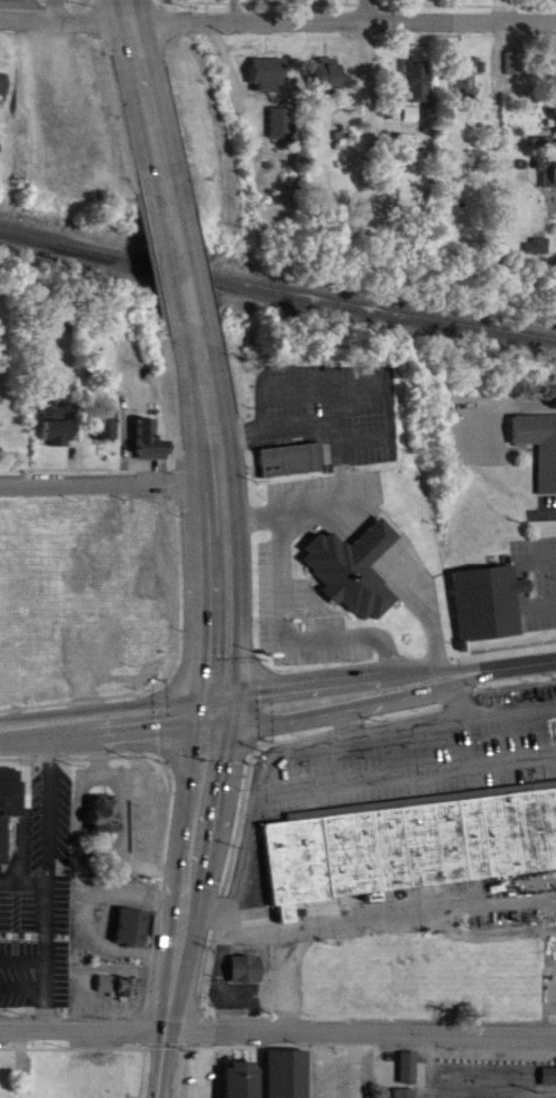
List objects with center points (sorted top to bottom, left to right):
road: (235, 3)
road: (277, 6)
building: (268, 75)
building: (327, 76)
building: (413, 81)
building: (4, 83)
road: (146, 87)
road: (360, 120)
building: (554, 120)
building: (281, 123)
building: (547, 174)
railway: (277, 276)
road: (197, 318)
road: (363, 374)
road: (336, 396)
road: (178, 416)
building: (105, 424)
road: (358, 432)
building: (59, 433)
building: (538, 433)
building: (149, 439)
road: (88, 455)
building: (292, 461)
road: (109, 469)
road: (325, 495)
road: (538, 544)
building: (351, 551)
road: (421, 583)
road: (222, 585)
building: (487, 586)
road: (544, 592)
road: (287, 615)
road: (514, 631)
road: (499, 667)
road: (329, 677)
road: (466, 690)
road: (332, 711)
road: (166, 712)
road: (109, 718)
road: (351, 718)
road: (315, 733)
road: (258, 734)
road: (214, 742)
road: (76, 745)
parking lot: (413, 748)
road: (408, 756)
building: (6, 779)
road: (54, 797)
building: (99, 799)
building: (108, 815)
building: (62, 828)
building: (409, 830)
road: (13, 868)
road: (43, 869)
road: (379, 901)
road: (189, 902)
building: (133, 910)
road: (161, 916)
road: (26, 946)
building: (247, 956)
building: (122, 970)
building: (249, 970)
road: (27, 975)
building: (121, 987)
road: (278, 1018)
parking lot: (487, 1032)
road: (254, 1033)
road: (77, 1035)
road: (172, 1035)
building: (408, 1052)
road: (206, 1057)
park: (468, 1058)
park: (548, 1060)
parking lot: (347, 1062)
building: (267, 1067)
parking lot: (203, 1068)
building: (549, 1076)
building: (405, 1086)
park: (546, 1094)
road: (350, 1095)

